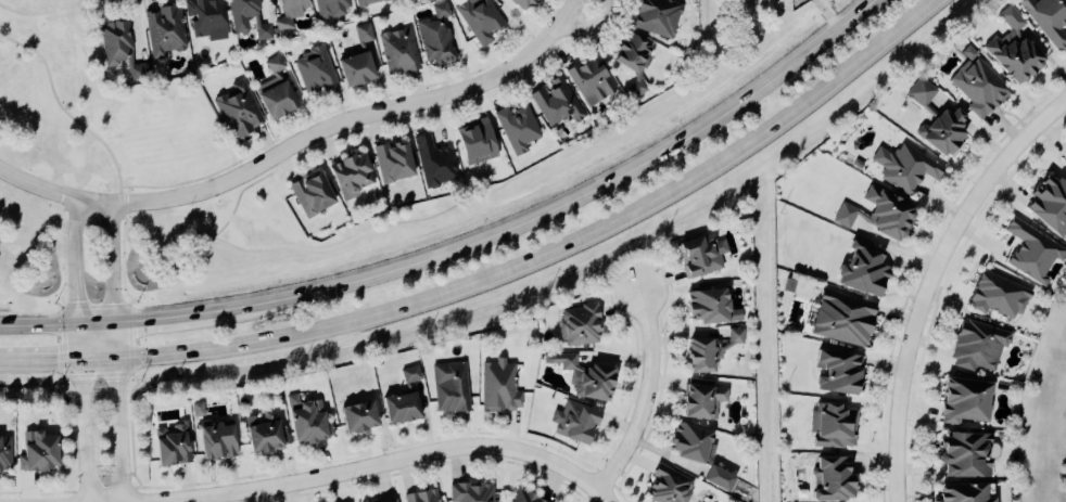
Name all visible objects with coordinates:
building: (366, 2)
building: (522, 3)
building: (331, 9)
road: (41, 14)
building: (285, 14)
building: (655, 16)
building: (248, 18)
building: (204, 20)
building: (479, 20)
building: (1046, 20)
building: (1010, 21)
road: (591, 26)
building: (163, 30)
building: (363, 33)
building: (436, 36)
building: (119, 50)
building: (397, 51)
building: (967, 54)
building: (629, 56)
building: (1011, 59)
building: (274, 64)
building: (375, 66)
building: (353, 69)
building: (315, 73)
building: (589, 81)
building: (977, 88)
building: (919, 92)
building: (272, 98)
building: (556, 102)
road: (61, 108)
building: (237, 111)
road: (356, 119)
building: (517, 128)
building: (940, 132)
building: (472, 142)
building: (1064, 159)
building: (391, 162)
building: (433, 163)
building: (905, 169)
building: (348, 176)
road: (120, 192)
road: (54, 193)
building: (310, 194)
building: (1048, 205)
road: (569, 206)
building: (877, 216)
building: (1065, 242)
road: (558, 247)
building: (1030, 253)
building: (698, 256)
road: (78, 262)
building: (860, 270)
road: (118, 279)
road: (935, 281)
building: (997, 297)
building: (703, 308)
road: (166, 317)
building: (840, 320)
traffic signals: (120, 321)
road: (101, 322)
road: (40, 324)
traffic signals: (81, 324)
building: (579, 326)
building: (735, 337)
road: (81, 339)
building: (975, 348)
building: (699, 352)
traffic signals: (122, 353)
road: (102, 355)
traffic signals: (83, 356)
road: (8, 357)
road: (49, 357)
building: (835, 373)
building: (583, 378)
building: (450, 388)
building: (497, 388)
road: (648, 399)
building: (700, 401)
building: (962, 401)
building: (396, 409)
building: (195, 410)
building: (355, 419)
building: (571, 423)
building: (307, 424)
building: (830, 426)
road: (123, 427)
road: (85, 428)
building: (264, 435)
building: (215, 442)
building: (169, 447)
building: (36, 453)
building: (695, 454)
building: (4, 455)
building: (963, 456)
road: (380, 463)
building: (829, 479)
building: (664, 487)
building: (469, 492)
building: (962, 493)
building: (420, 497)
road: (604, 497)
building: (520, 498)
road: (206, 500)
building: (390, 501)
building: (393, 501)

